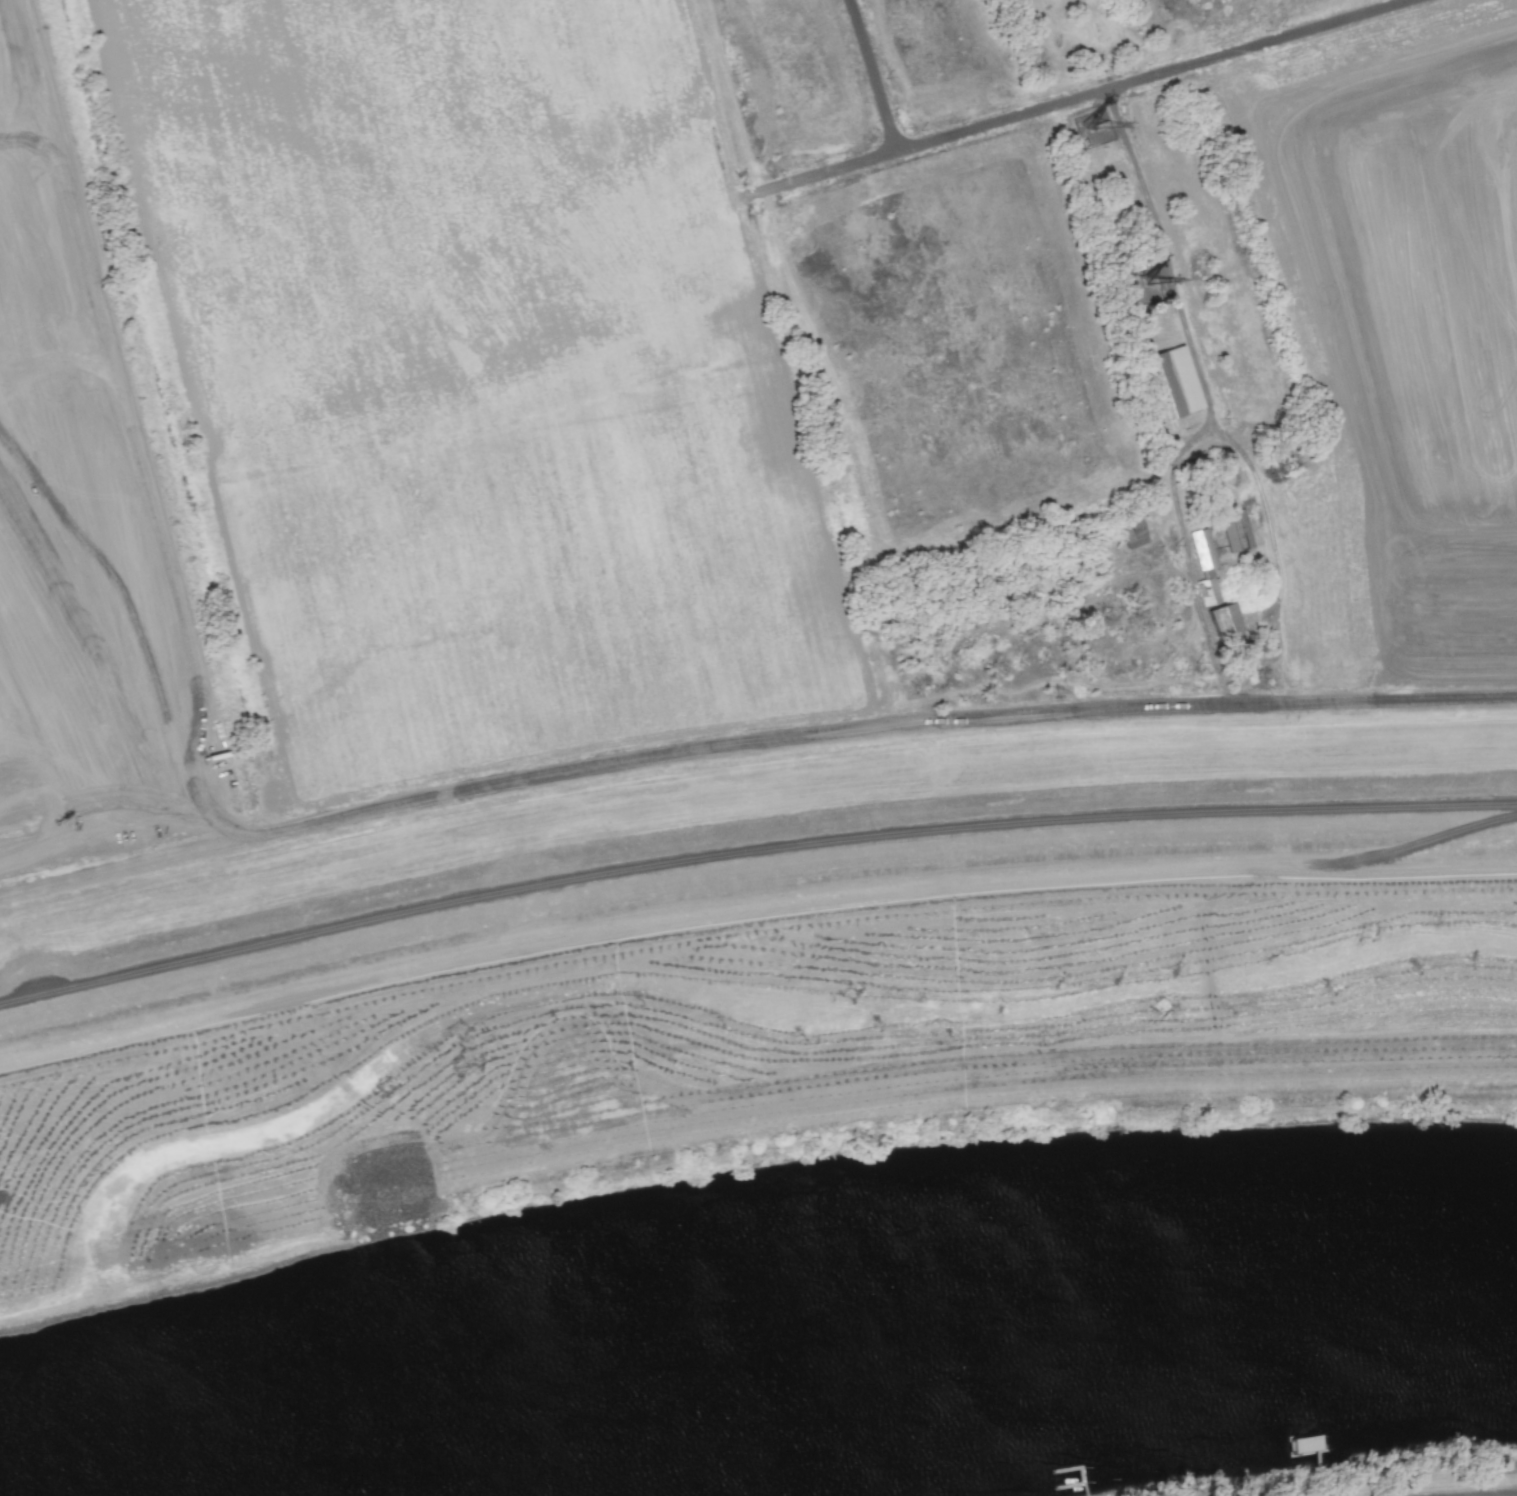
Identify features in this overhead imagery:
road: (873, 74)
road: (1148, 74)
road: (820, 171)
road: (1165, 256)
building: (1131, 281)
building: (1170, 384)
building: (1235, 530)
building: (1132, 533)
road: (1182, 537)
road: (1272, 549)
crop: (82, 561)
building: (1204, 566)
building: (1227, 626)
road: (972, 1083)
road: (217, 1228)
river: (863, 1326)

